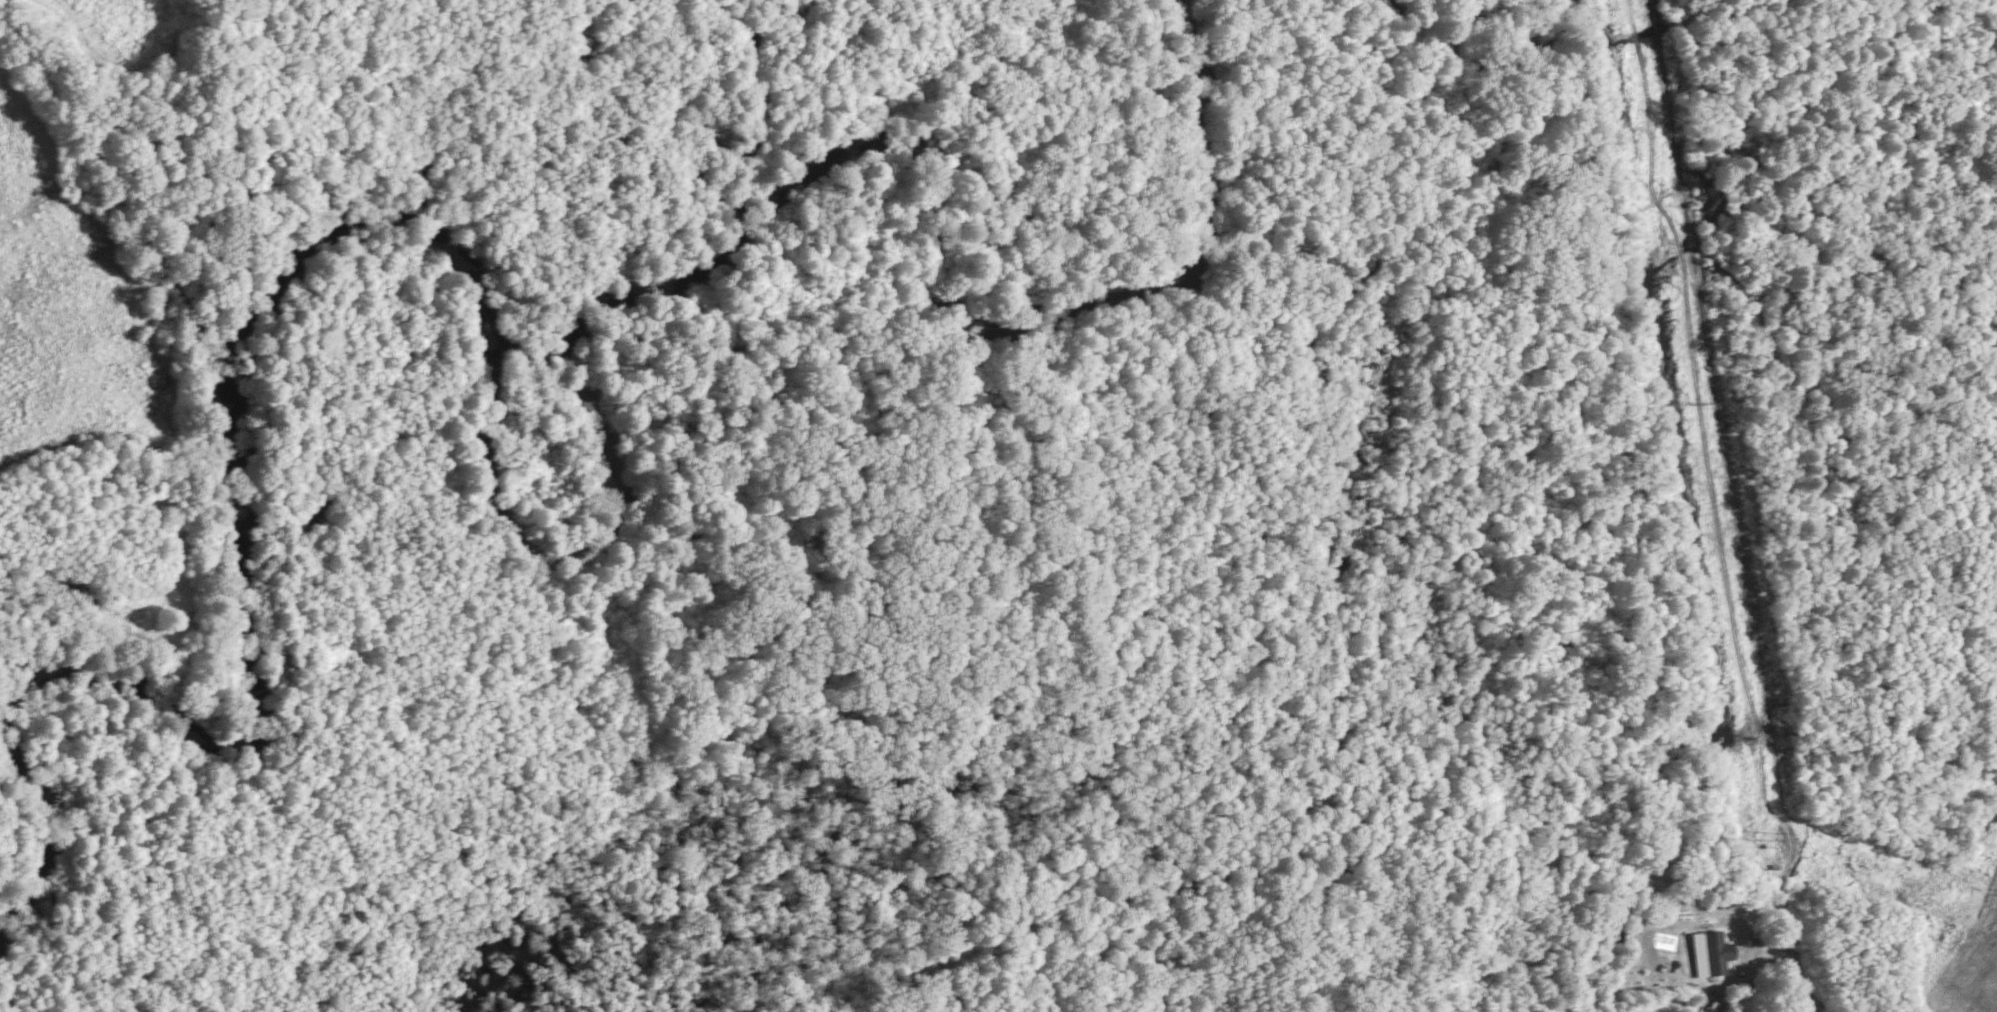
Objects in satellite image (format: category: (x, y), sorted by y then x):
power tower: (1698, 404)
river: (498, 516)
power tower: (1770, 840)
crop: (1960, 935)
building: (1709, 952)

